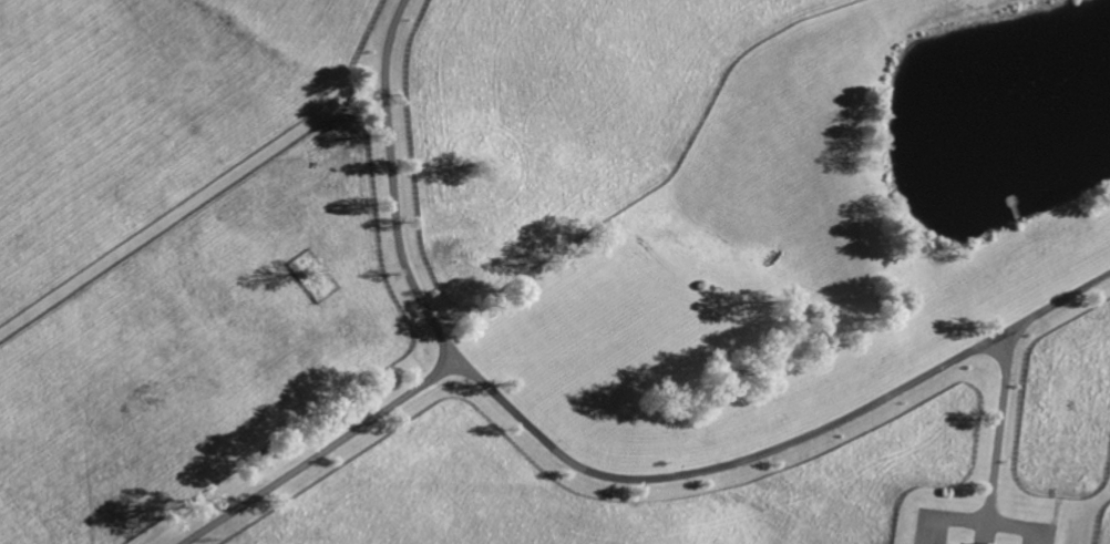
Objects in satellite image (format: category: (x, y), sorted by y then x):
road: (996, 428)
road: (321, 451)
road: (597, 474)
building: (981, 542)
building: (950, 543)

